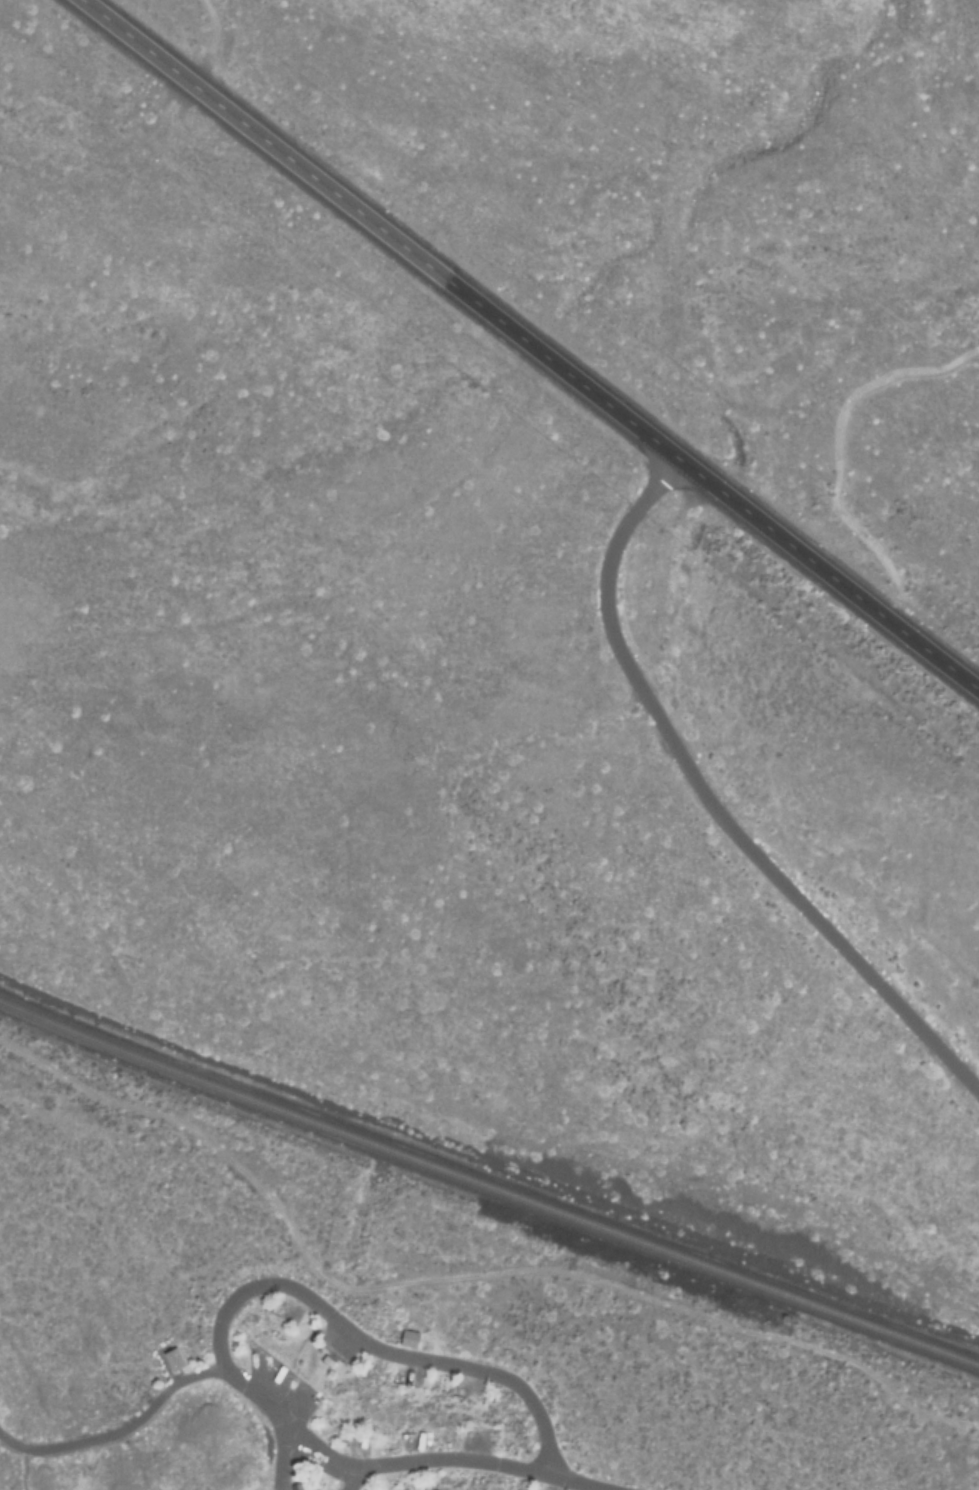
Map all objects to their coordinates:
road: (537, 341)
road: (708, 803)
railway: (488, 1186)
road: (461, 1275)
building: (407, 1338)
road: (374, 1347)
building: (172, 1360)
road: (296, 1428)
road: (280, 1454)
road: (349, 1477)
road: (278, 1488)

